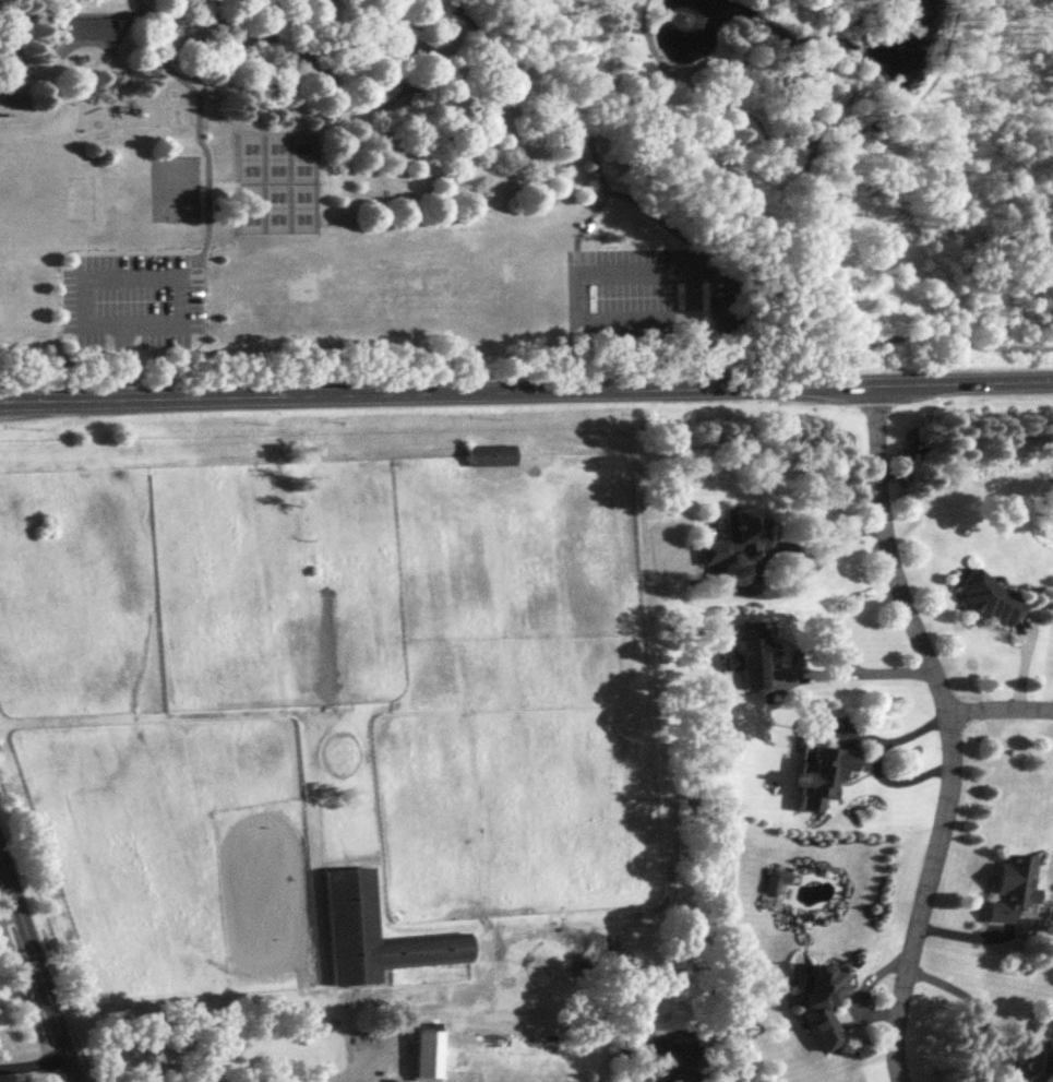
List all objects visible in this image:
road: (222, 9)
road: (633, 12)
road: (72, 13)
road: (857, 17)
fountain: (691, 21)
building: (87, 27)
road: (323, 33)
road: (859, 47)
road: (60, 49)
road: (142, 66)
road: (7, 67)
road: (120, 71)
road: (716, 98)
road: (849, 98)
road: (351, 102)
road: (907, 107)
road: (634, 108)
road: (818, 145)
road: (202, 146)
road: (593, 150)
park: (256, 179)
park: (298, 179)
park: (172, 187)
park: (519, 188)
park: (77, 195)
road: (689, 243)
road: (80, 277)
parking lot: (645, 294)
road: (578, 295)
parking lot: (131, 298)
road: (693, 326)
road: (872, 341)
road: (121, 359)
road: (526, 392)
road: (161, 428)
building: (488, 454)
building: (733, 534)
road: (834, 543)
building: (986, 598)
road: (871, 668)
road: (998, 709)
road: (946, 730)
road: (876, 759)
building: (821, 774)
building: (1006, 888)
building: (370, 934)
road: (39, 964)
road: (28, 1002)
building: (818, 1003)
building: (426, 1055)
building: (1041, 1062)
road: (35, 1063)
road: (351, 1077)
road: (244, 1079)

